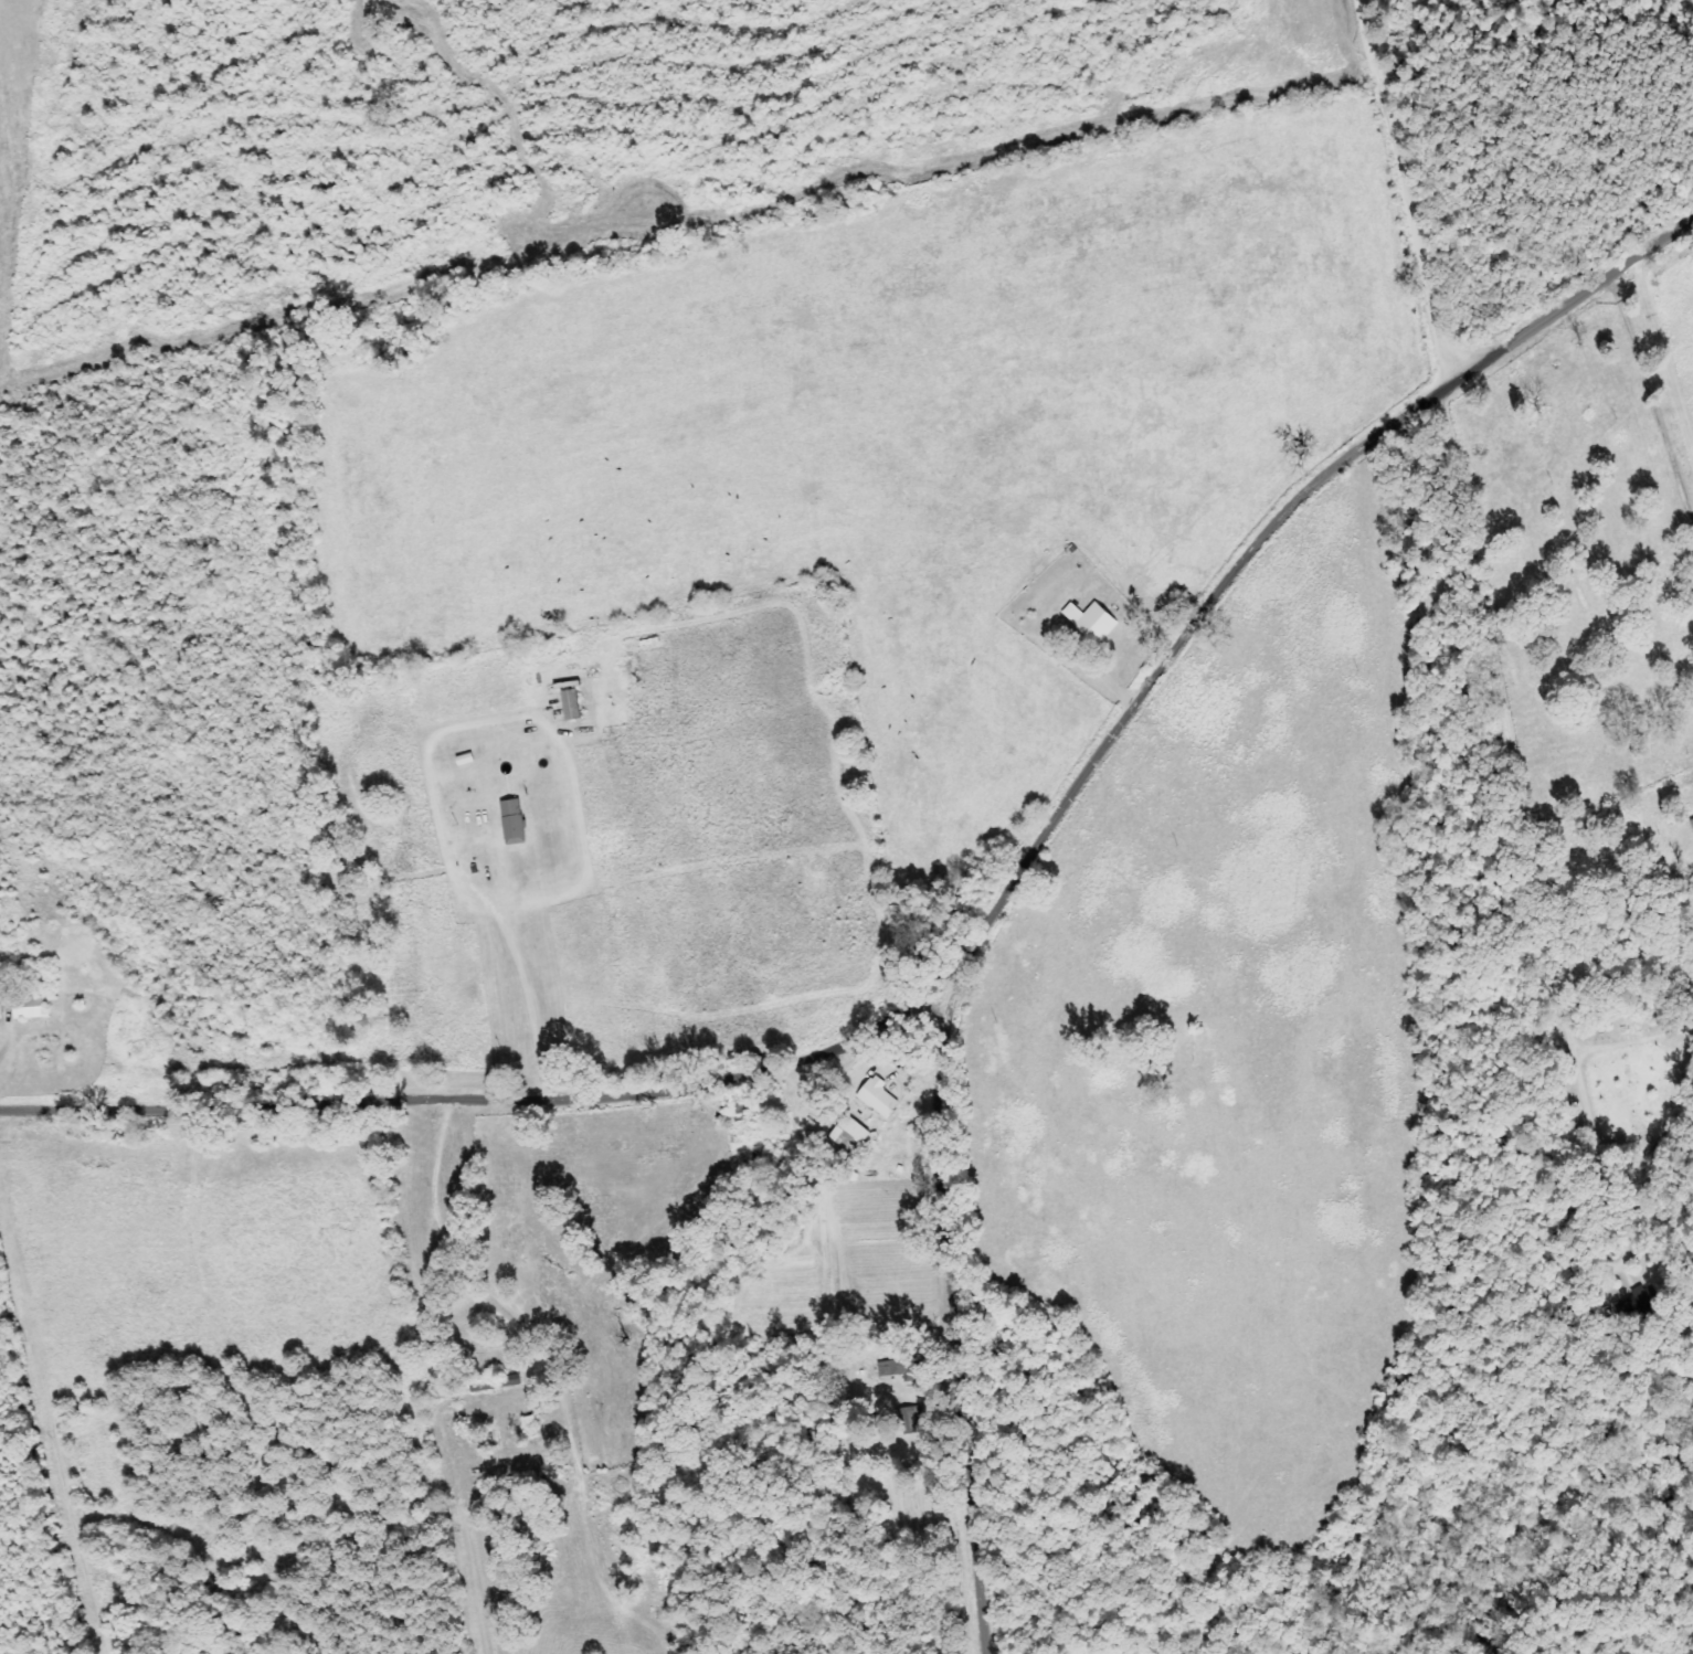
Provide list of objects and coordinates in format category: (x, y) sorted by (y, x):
road: (1428, 184)
road: (1655, 389)
building: (1094, 619)
road: (1514, 719)
road: (1060, 808)
building: (516, 820)
building: (32, 1006)
building: (881, 1095)
road: (519, 1100)
building: (853, 1133)

